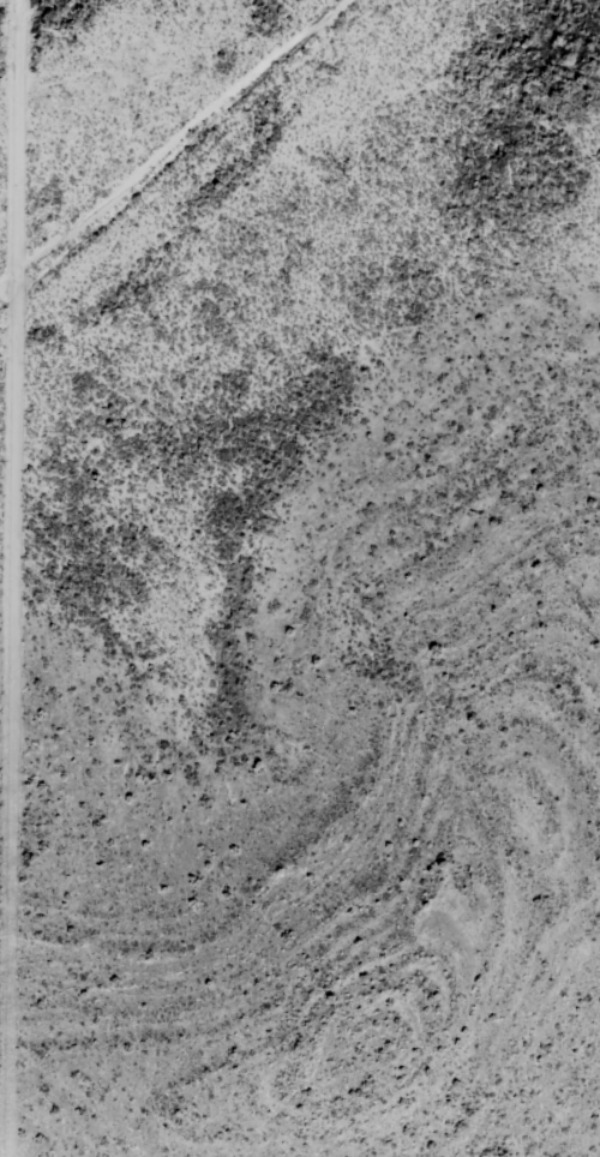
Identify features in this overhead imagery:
road: (160, 131)

